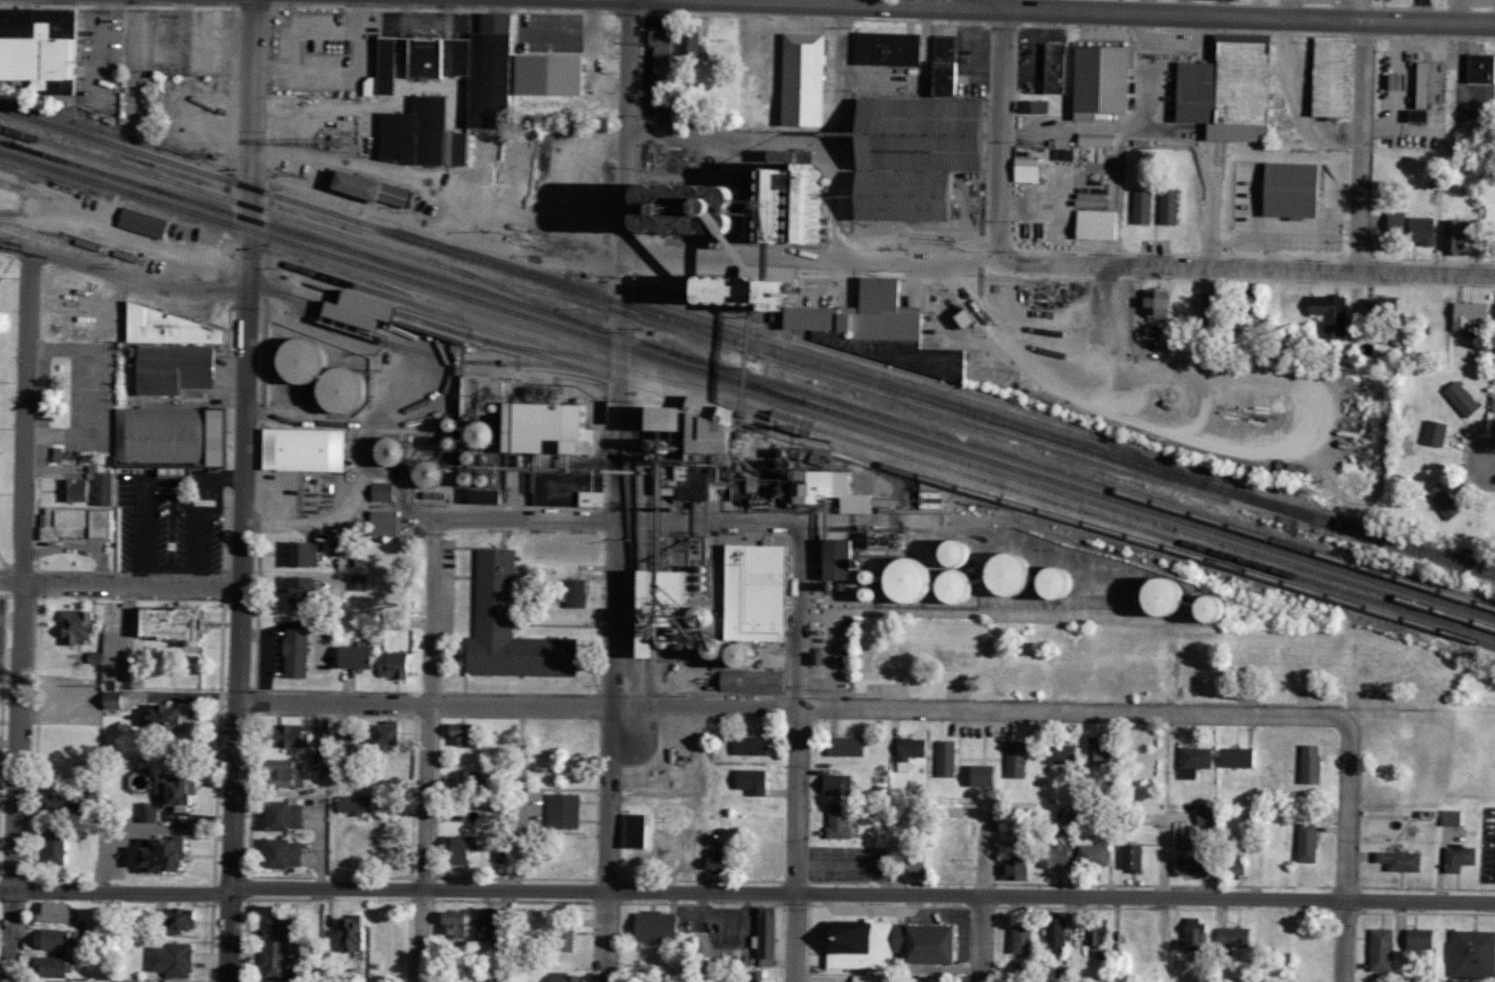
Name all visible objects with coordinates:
road: (1031, 5)
road: (1137, 13)
building: (684, 41)
building: (40, 44)
parking lot: (319, 47)
road: (1186, 48)
building: (655, 50)
building: (880, 50)
building: (454, 56)
building: (422, 62)
road: (838, 65)
building: (938, 66)
building: (1477, 68)
building: (1050, 69)
building: (484, 71)
building: (542, 74)
building: (1327, 77)
building: (797, 78)
building: (1095, 81)
building: (1392, 81)
building: (66, 86)
building: (1424, 88)
building: (1189, 94)
building: (1031, 106)
building: (1077, 115)
road: (1125, 128)
building: (418, 135)
road: (999, 135)
building: (1093, 140)
road: (734, 141)
road: (1359, 146)
building: (906, 155)
building: (1023, 169)
building: (345, 184)
building: (1288, 189)
building: (388, 194)
railway: (365, 200)
building: (716, 202)
road: (1211, 204)
building: (1139, 205)
building: (1166, 206)
railway: (291, 219)
building: (1392, 220)
building: (145, 222)
building: (1093, 224)
road: (855, 229)
building: (1418, 229)
building: (1450, 235)
building: (200, 240)
road: (754, 255)
road: (6, 263)
road: (1217, 267)
road: (123, 273)
building: (763, 279)
building: (1241, 294)
building: (1149, 301)
building: (1388, 306)
building: (349, 309)
building: (1326, 313)
building: (1494, 313)
building: (855, 314)
building: (1466, 315)
railway: (441, 326)
railway: (482, 327)
railway: (759, 337)
railway: (747, 342)
building: (178, 350)
railway: (543, 351)
building: (924, 359)
railway: (906, 371)
building: (314, 375)
railway: (731, 376)
railway: (747, 376)
railway: (747, 385)
railway: (877, 392)
parking lot: (87, 393)
building: (1459, 397)
park: (6, 404)
building: (1492, 404)
building: (787, 423)
building: (1432, 433)
building: (175, 439)
building: (379, 448)
building: (535, 448)
building: (297, 449)
building: (695, 456)
road: (1492, 461)
building: (415, 471)
railway: (911, 474)
building: (104, 488)
building: (77, 489)
road: (242, 490)
road: (617, 490)
building: (377, 492)
building: (1441, 500)
railway: (1091, 503)
road: (596, 513)
railway: (1090, 513)
building: (80, 523)
building: (380, 523)
building: (297, 553)
building: (945, 553)
road: (2, 558)
building: (829, 558)
building: (1019, 576)
building: (895, 577)
building: (354, 581)
road: (119, 582)
building: (292, 589)
building: (750, 591)
building: (567, 593)
building: (662, 594)
building: (1170, 600)
parking lot: (0, 609)
road: (22, 615)
building: (390, 620)
building: (179, 624)
building: (79, 626)
building: (504, 627)
building: (717, 652)
building: (291, 653)
building: (111, 656)
building: (814, 657)
building: (392, 664)
building: (746, 681)
building: (116, 700)
road: (783, 706)
building: (171, 717)
building: (458, 733)
building: (377, 734)
building: (283, 735)
road: (795, 735)
road: (425, 744)
building: (747, 745)
building: (841, 746)
building: (909, 748)
building: (1097, 750)
building: (1057, 753)
building: (1235, 757)
building: (943, 758)
building: (1012, 759)
building: (1191, 760)
building: (1307, 764)
building: (279, 773)
building: (979, 775)
building: (466, 780)
building: (748, 780)
building: (833, 784)
building: (349, 804)
building: (64, 805)
building: (503, 807)
building: (560, 811)
building: (143, 812)
building: (278, 815)
building: (1203, 816)
building: (1448, 817)
building: (836, 820)
building: (1304, 842)
road: (1346, 843)
building: (56, 845)
building: (453, 849)
building: (498, 851)
building: (277, 853)
building: (152, 854)
building: (1091, 854)
building: (1052, 855)
building: (1128, 857)
building: (1455, 857)
building: (714, 859)
building: (1395, 860)
building: (914, 864)
building: (1233, 864)
building: (1189, 865)
building: (1009, 869)
road: (116, 890)
road: (863, 895)
building: (58, 911)
building: (175, 920)
building: (450, 922)
building: (651, 926)
building: (93, 927)
building: (480, 927)
building: (345, 933)
building: (1052, 934)
building: (1190, 935)
building: (1095, 936)
building: (560, 937)
building: (762, 937)
building: (57, 938)
road: (979, 939)
building: (1017, 939)
building: (1229, 939)
building: (1415, 939)
building: (883, 944)
building: (273, 949)
building: (1378, 949)
building: (1471, 953)
building: (173, 959)
building: (59, 966)
building: (561, 977)
building: (133, 981)

